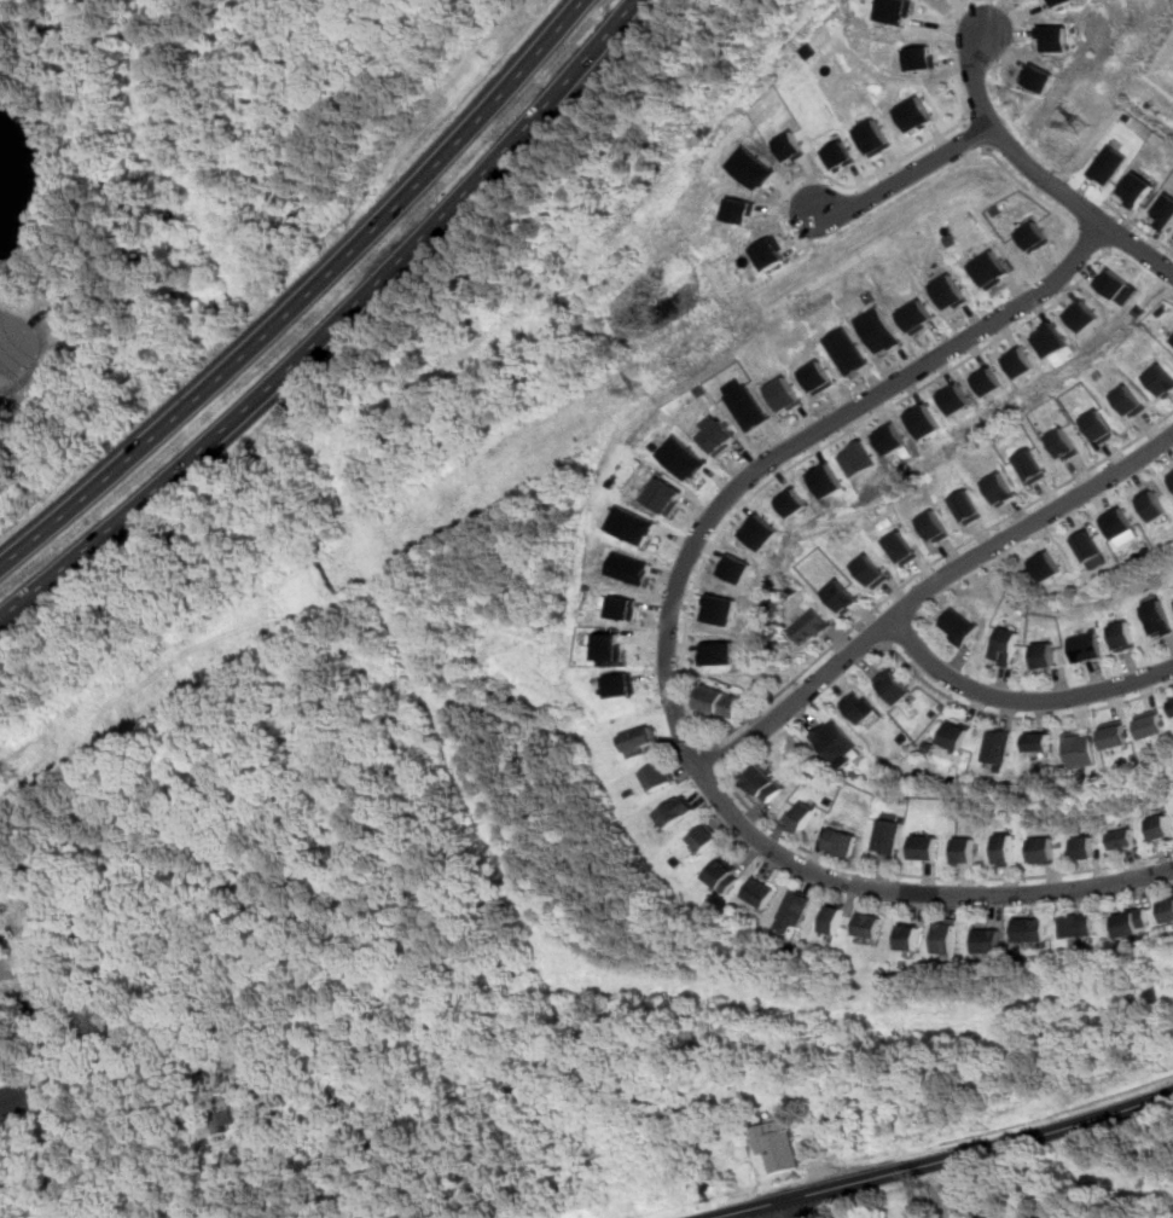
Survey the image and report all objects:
building: (1061, 1)
building: (896, 10)
building: (1053, 36)
building: (919, 56)
building: (1038, 77)
building: (914, 112)
power tower: (1084, 124)
building: (873, 137)
road: (987, 141)
building: (789, 145)
building: (840, 155)
building: (1105, 163)
building: (750, 167)
road: (912, 178)
road: (1038, 178)
road: (836, 179)
road: (1028, 186)
building: (1136, 187)
building: (739, 209)
building: (1165, 210)
road: (1120, 222)
road: (1138, 225)
building: (1035, 236)
road: (1093, 236)
building: (771, 251)
building: (994, 267)
building: (1117, 284)
building: (953, 290)
road: (304, 296)
building: (1084, 314)
building: (919, 315)
road: (332, 324)
building: (879, 329)
building: (1052, 338)
building: (1172, 340)
building: (847, 349)
building: (1021, 361)
building: (818, 376)
building: (1162, 378)
building: (987, 379)
power tower: (640, 390)
building: (783, 393)
building: (953, 398)
building: (1131, 399)
building: (747, 406)
building: (922, 420)
building: (1101, 424)
building: (718, 435)
building: (889, 437)
building: (1064, 442)
building: (680, 456)
building: (856, 458)
building: (1032, 464)
building: (1172, 476)
building: (825, 480)
building: (1000, 486)
building: (663, 494)
building: (790, 500)
building: (968, 504)
building: (1154, 504)
building: (1120, 521)
building: (631, 523)
building: (935, 524)
building: (759, 530)
building: (1088, 544)
building: (902, 545)
building: (1047, 564)
building: (628, 567)
building: (734, 567)
building: (871, 569)
road: (928, 591)
building: (842, 594)
building: (625, 607)
building: (719, 608)
building: (1157, 616)
building: (809, 625)
building: (956, 625)
building: (1122, 633)
road: (872, 634)
building: (1005, 644)
building: (1084, 644)
building: (612, 648)
building: (719, 651)
building: (1044, 654)
road: (668, 655)
road: (686, 681)
building: (894, 684)
building: (623, 685)
road: (1020, 700)
building: (721, 702)
building: (859, 707)
road: (1020, 719)
building: (1152, 723)
building: (1115, 732)
building: (957, 733)
building: (641, 738)
building: (834, 738)
building: (1039, 739)
building: (998, 744)
building: (1080, 747)
road: (719, 761)
power tower: (12, 773)
building: (658, 775)
building: (765, 782)
building: (676, 810)
building: (802, 816)
building: (1160, 825)
building: (887, 835)
building: (705, 836)
building: (1123, 836)
building: (841, 840)
building: (925, 846)
building: (1085, 846)
building: (964, 847)
building: (1005, 847)
building: (1043, 848)
building: (725, 874)
road: (935, 878)
building: (761, 891)
building: (796, 905)
building: (1168, 909)
building: (835, 918)
building: (1134, 921)
building: (1079, 923)
building: (872, 924)
building: (1033, 928)
building: (947, 934)
building: (911, 935)
building: (989, 939)
building: (19, 981)
building: (332, 1092)
building: (16, 1100)
road: (62, 1100)
road: (1058, 1110)
building: (226, 1118)
building: (836, 1123)
building: (779, 1143)
building: (812, 1145)
road: (943, 1159)
road: (789, 1208)

